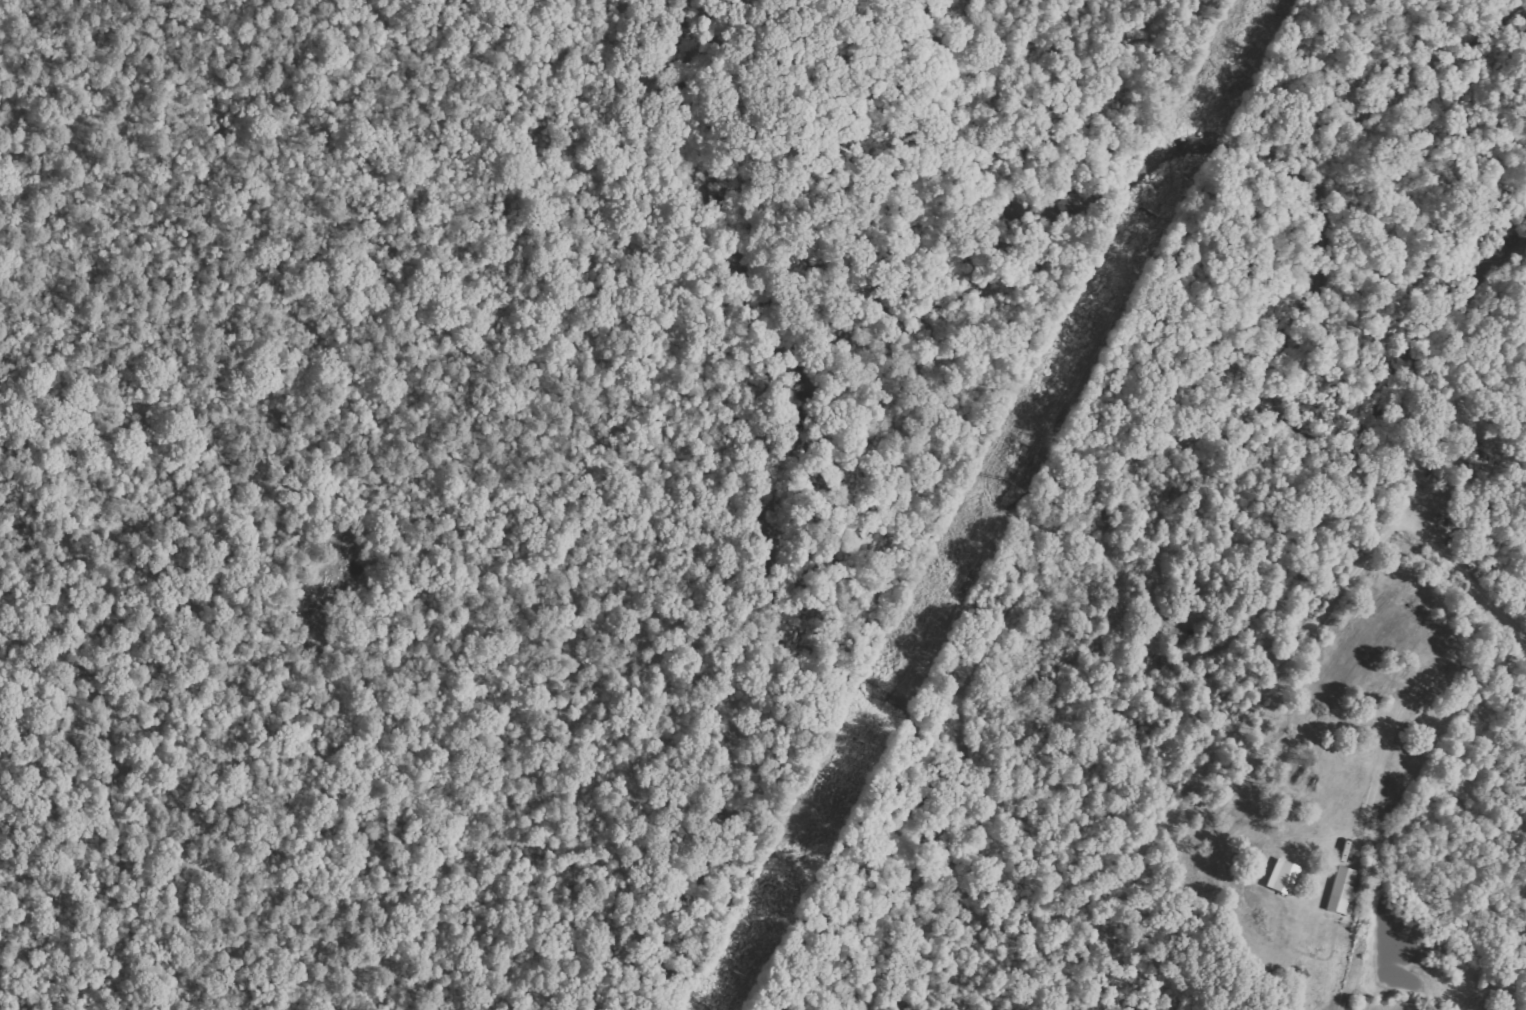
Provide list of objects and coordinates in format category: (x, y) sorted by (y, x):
river: (1306, 196)
power tower: (1148, 211)
power tower: (1001, 479)
road: (1470, 577)
river: (792, 620)
power tower: (858, 741)
building: (1284, 877)
building: (1342, 891)
power tower: (726, 974)

